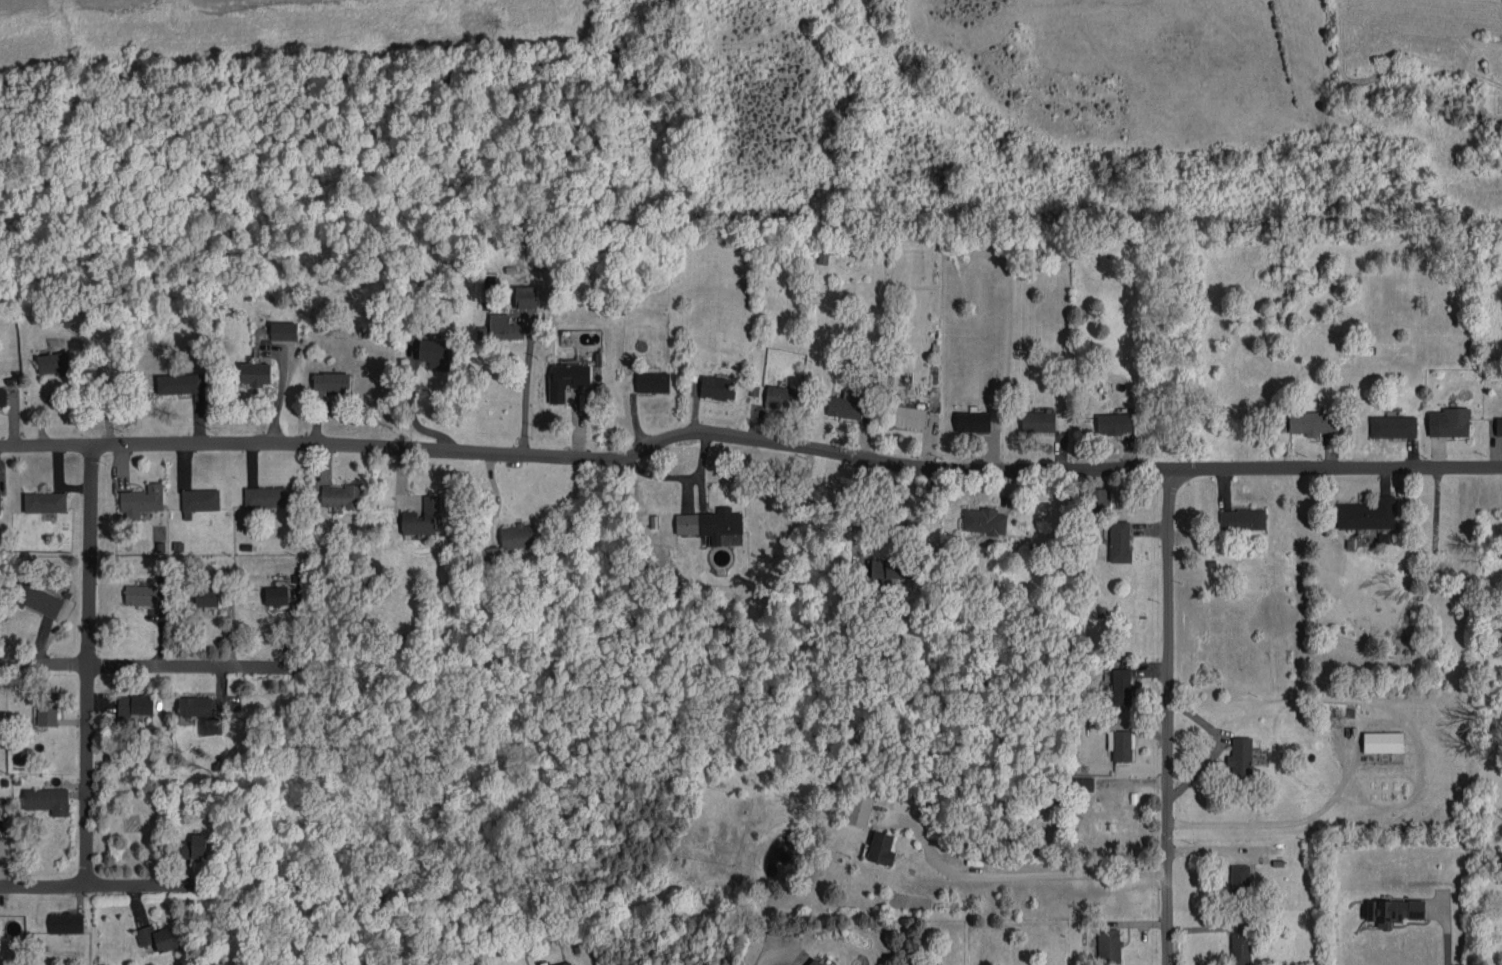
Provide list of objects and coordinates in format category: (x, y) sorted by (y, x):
building: (526, 296)
building: (500, 328)
building: (284, 331)
building: (434, 353)
building: (54, 363)
building: (255, 373)
building: (567, 379)
building: (652, 381)
building: (331, 382)
building: (181, 383)
building: (718, 387)
road: (525, 392)
building: (2, 396)
building: (782, 397)
building: (846, 405)
building: (909, 416)
road: (411, 418)
building: (972, 421)
building: (1038, 421)
building: (1313, 422)
building: (1448, 422)
building: (1113, 423)
building: (1393, 426)
building: (1499, 426)
road: (749, 441)
building: (265, 496)
building: (342, 496)
building: (143, 498)
building: (1099, 499)
building: (45, 502)
building: (0, 505)
building: (1368, 513)
building: (421, 516)
building: (1242, 519)
building: (983, 520)
building: (710, 523)
building: (518, 535)
building: (1119, 541)
building: (491, 555)
building: (889, 569)
building: (141, 594)
building: (207, 595)
building: (276, 595)
building: (41, 600)
road: (89, 665)
road: (152, 666)
building: (1122, 686)
building: (135, 704)
building: (195, 706)
building: (46, 709)
road: (1170, 715)
building: (1108, 723)
building: (1383, 742)
building: (1121, 744)
building: (1240, 755)
building: (1083, 783)
building: (47, 800)
building: (858, 809)
building: (195, 846)
building: (881, 848)
road: (1027, 877)
building: (1239, 880)
road: (97, 885)
building: (1393, 911)
building: (66, 922)
road: (1447, 933)
building: (158, 937)
building: (1108, 945)
building: (1240, 948)
road: (766, 957)
building: (815, 962)
building: (566, 963)
building: (831, 964)

